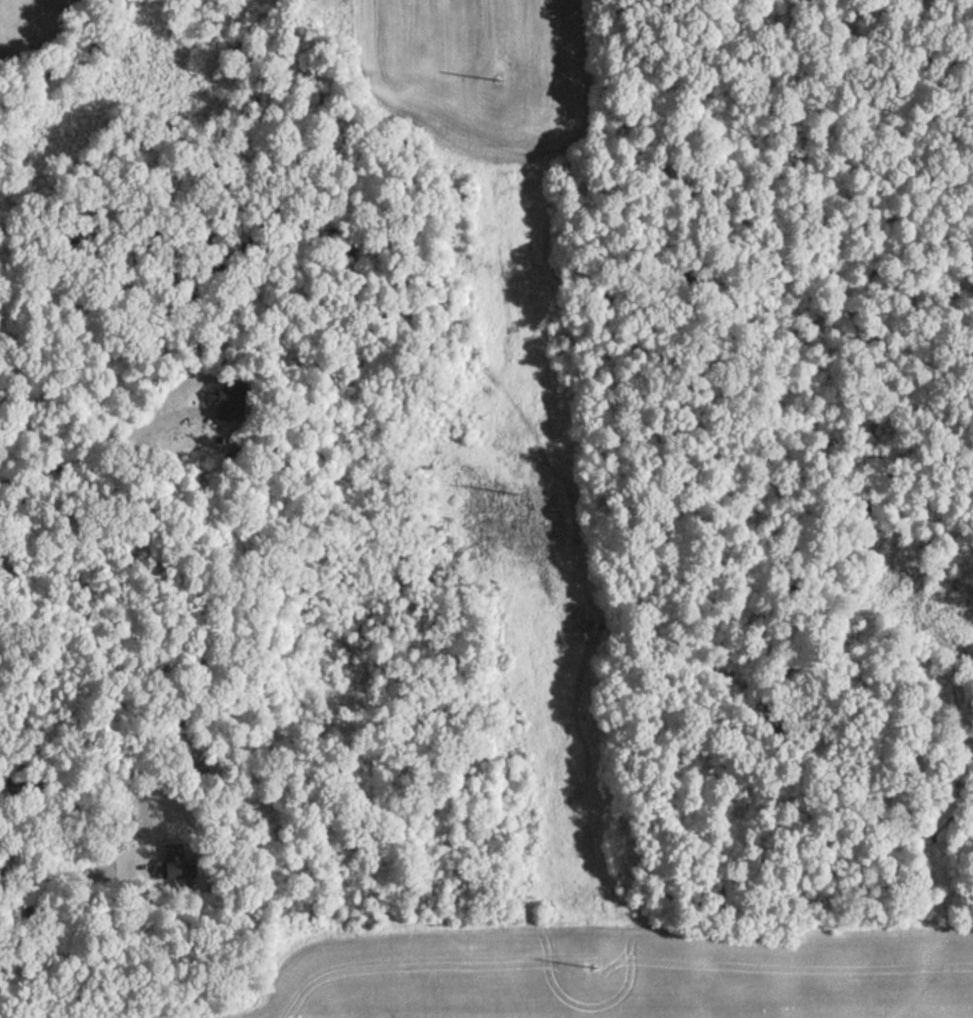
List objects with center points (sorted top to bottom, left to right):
power tower: (498, 94)
road: (95, 443)
power tower: (514, 493)
road: (67, 870)
power tower: (590, 967)

